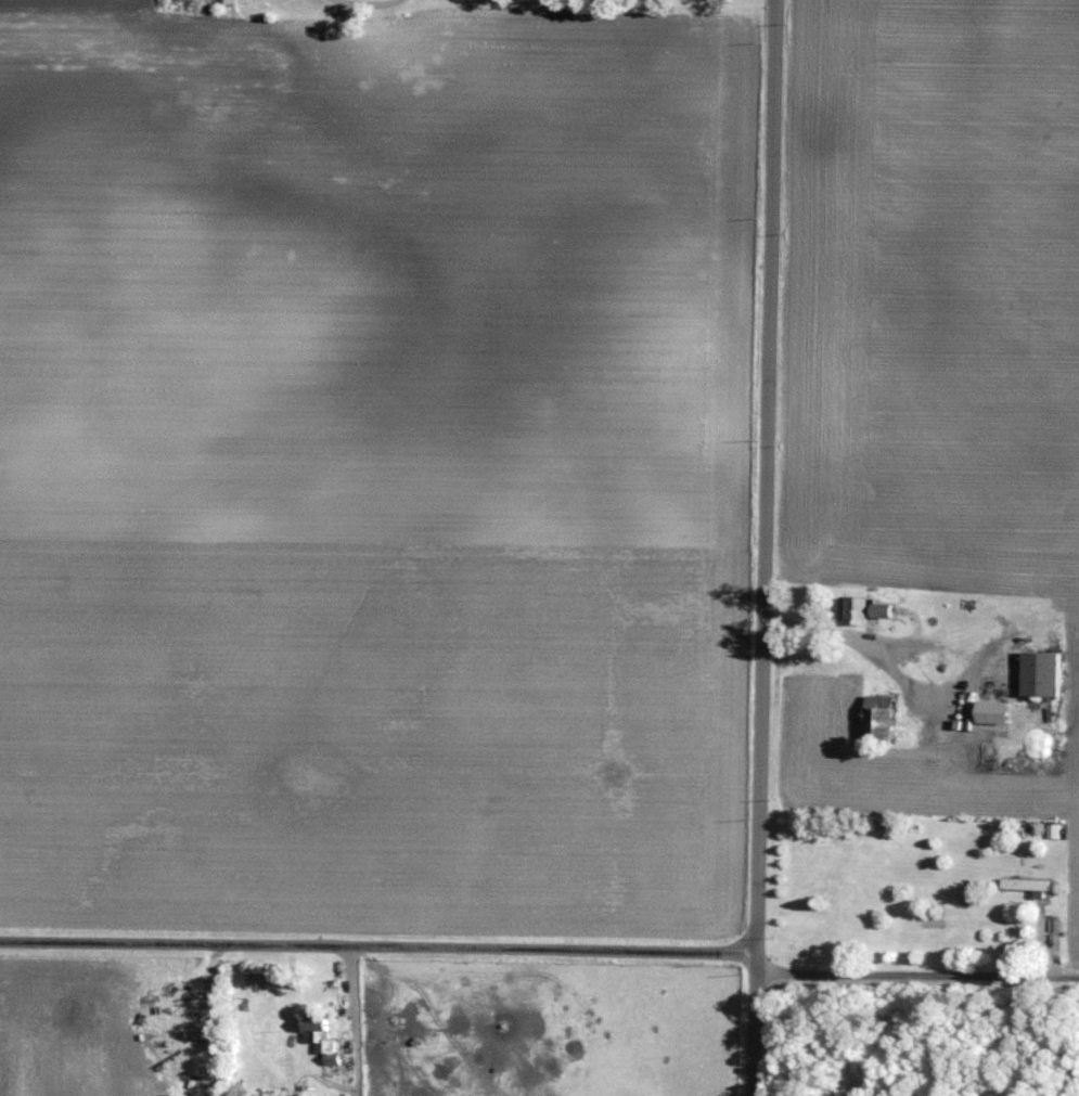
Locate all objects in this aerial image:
road: (763, 489)
building: (1045, 670)
building: (999, 713)
building: (1055, 827)
building: (1030, 881)
road: (376, 944)
road: (915, 979)
road: (354, 1020)
building: (323, 1034)
road: (750, 1036)

